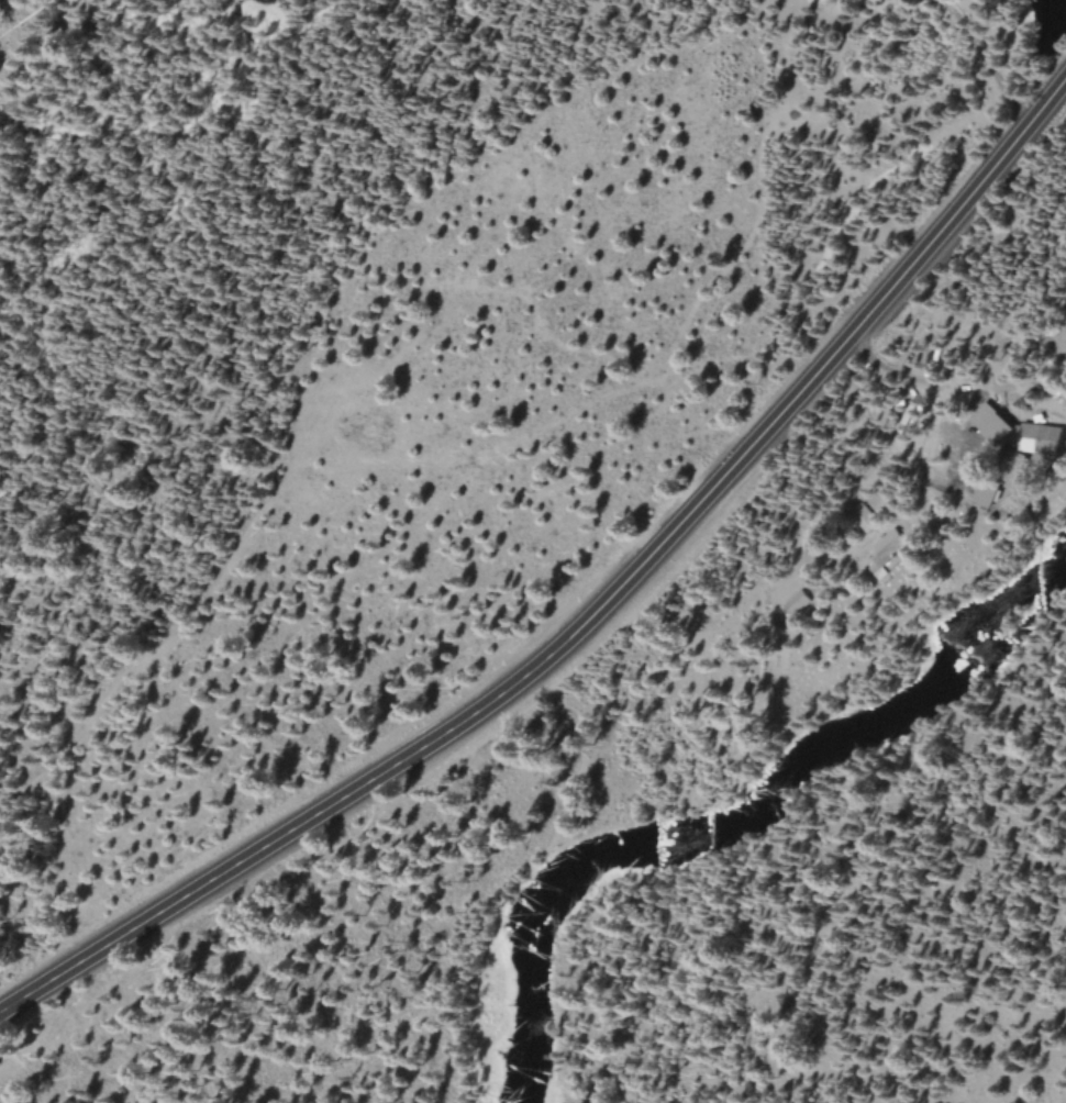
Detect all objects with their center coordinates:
road: (988, 58)
road: (1055, 94)
road: (936, 397)
building: (989, 423)
building: (1036, 445)
building: (999, 476)
road: (791, 494)
building: (863, 517)
building: (887, 546)
road: (581, 630)
river: (745, 816)
road: (855, 907)

